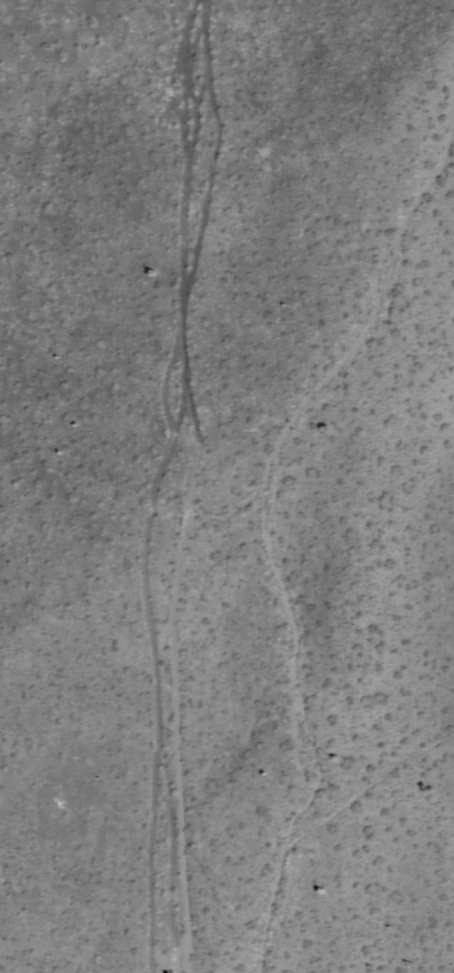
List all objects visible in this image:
road: (187, 486)

